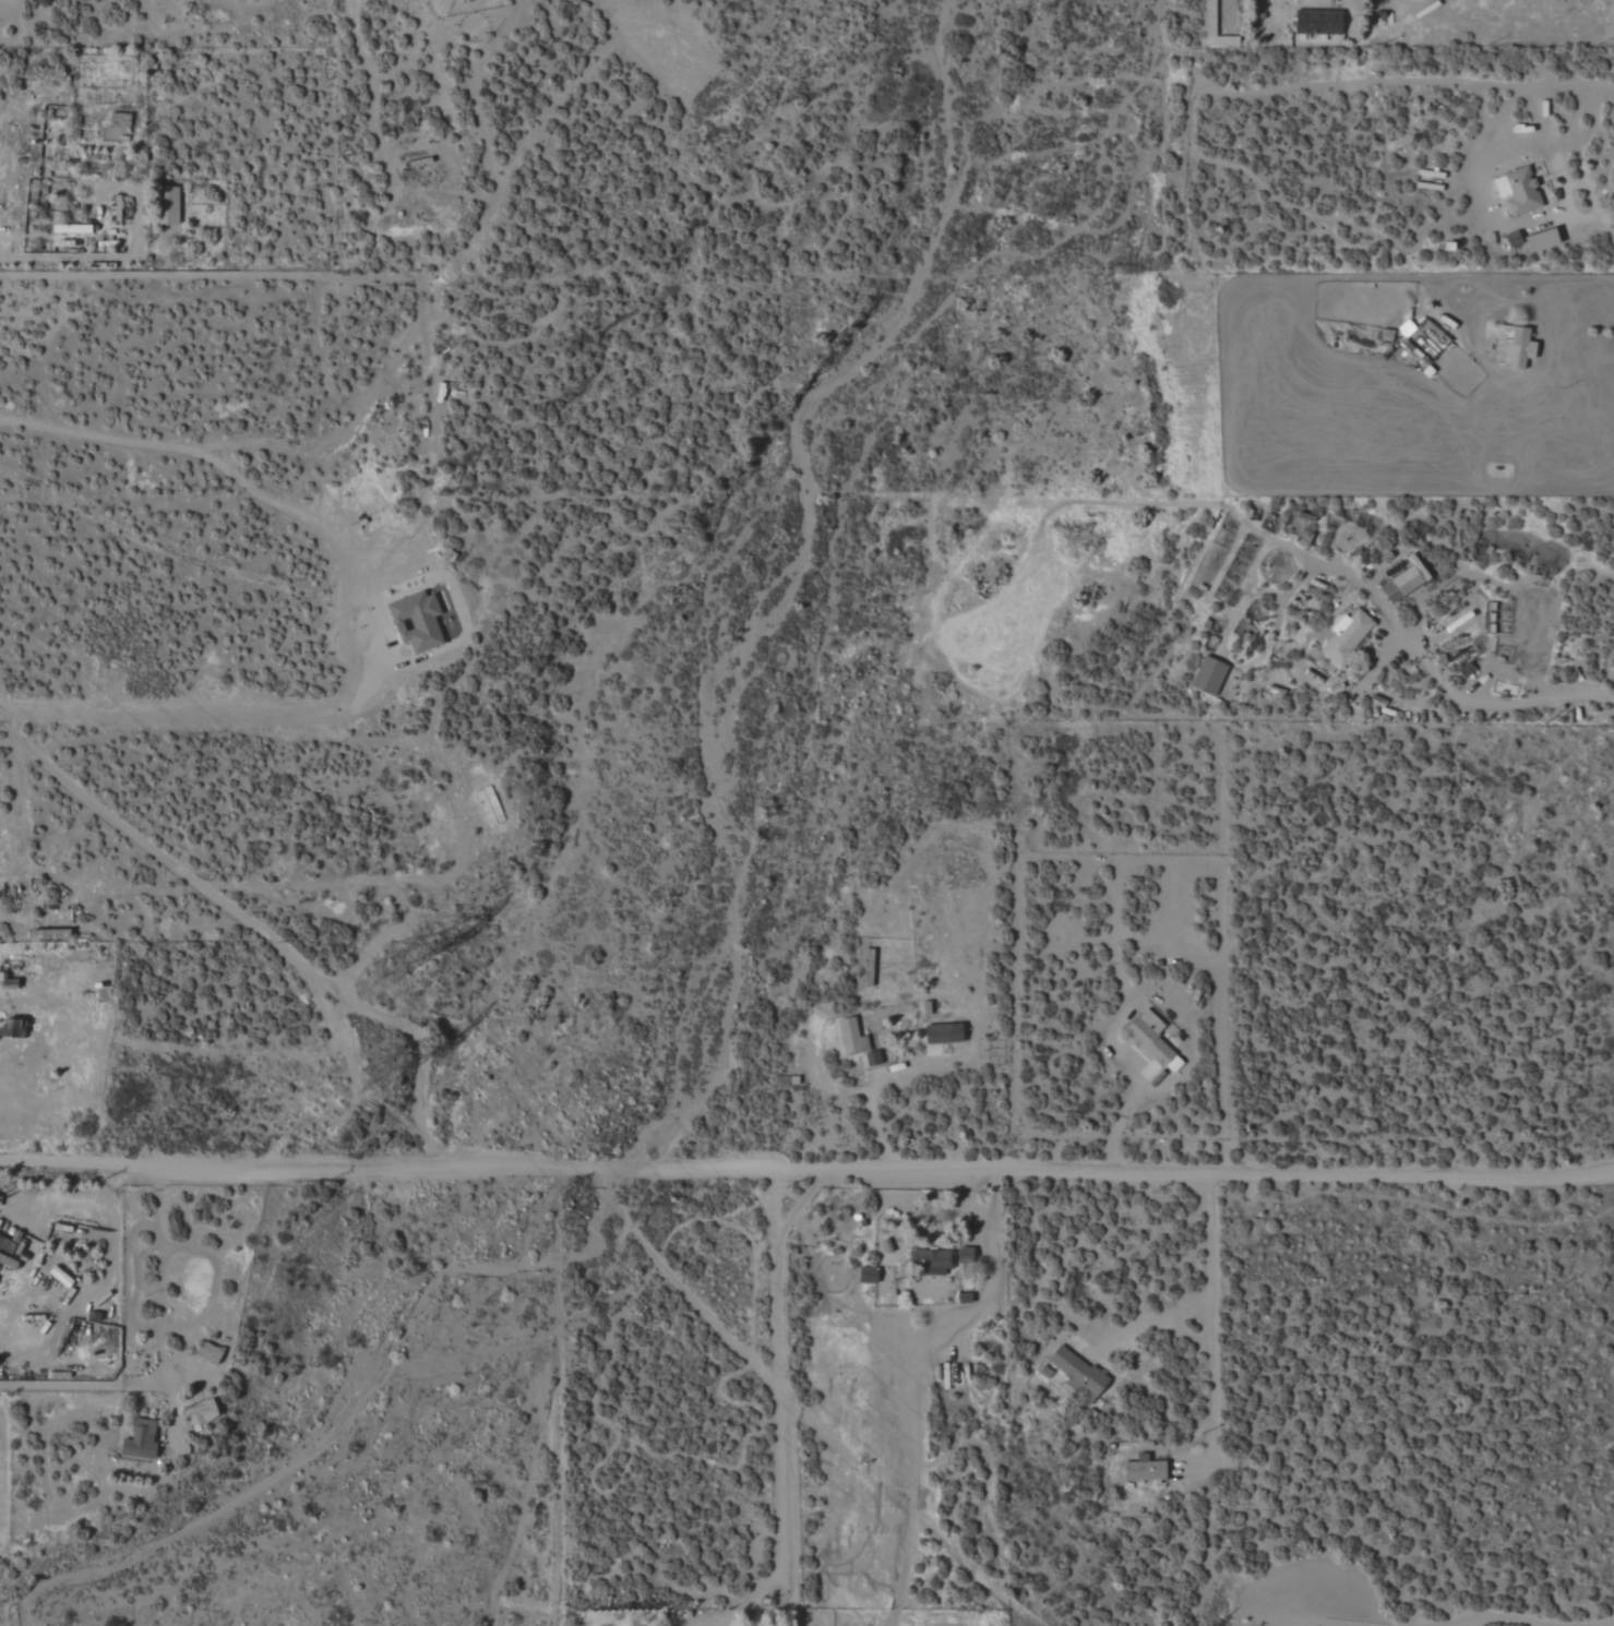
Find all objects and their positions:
road: (371, 92)
road: (1564, 181)
building: (1519, 192)
building: (168, 206)
road: (1606, 217)
building: (1515, 239)
building: (1543, 241)
road: (25, 254)
building: (1515, 347)
road: (254, 481)
building: (418, 621)
building: (1349, 636)
road: (182, 701)
road: (1496, 704)
road: (275, 943)
power tower: (391, 959)
building: (869, 966)
building: (11, 1028)
building: (945, 1033)
building: (852, 1037)
building: (1155, 1040)
power tower: (375, 1073)
road: (870, 1089)
road: (1119, 1116)
road: (806, 1167)
building: (933, 1262)
building: (869, 1275)
road: (1214, 1315)
road: (1150, 1319)
building: (211, 1353)
building: (1077, 1373)
road: (777, 1379)
road: (85, 1387)
road: (800, 1409)
building: (203, 1413)
building: (141, 1439)
building: (1146, 1470)
road: (1526, 1619)
road: (1315, 1623)

